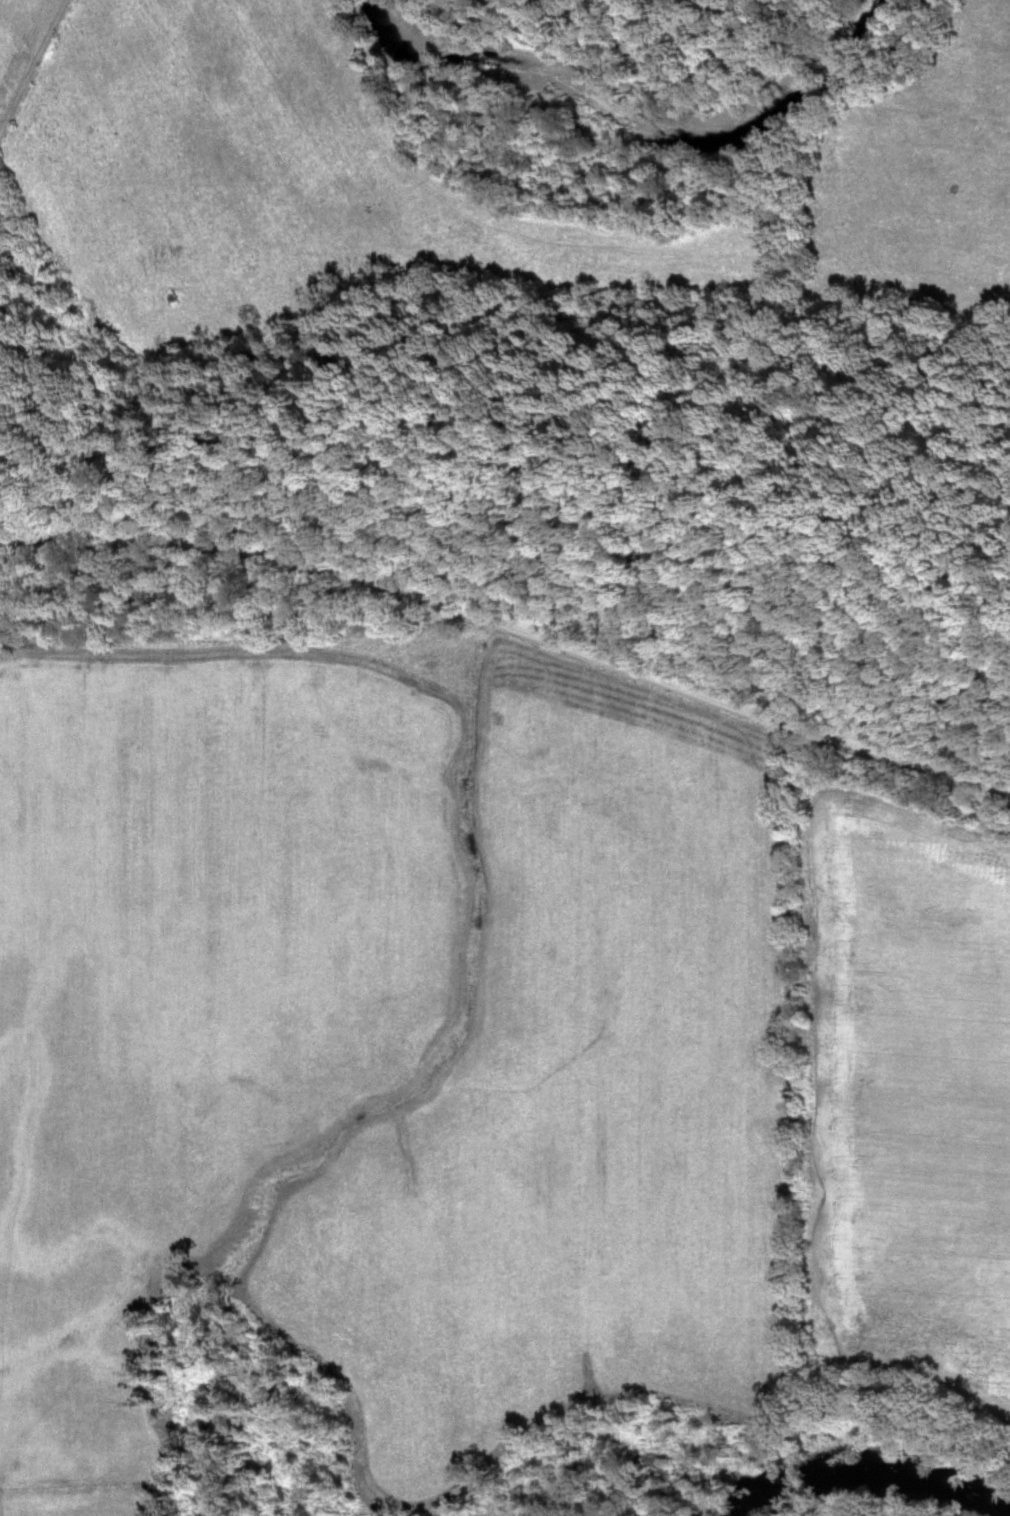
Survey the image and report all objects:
road: (34, 71)
road: (122, 369)
road: (511, 631)
river: (871, 1483)

